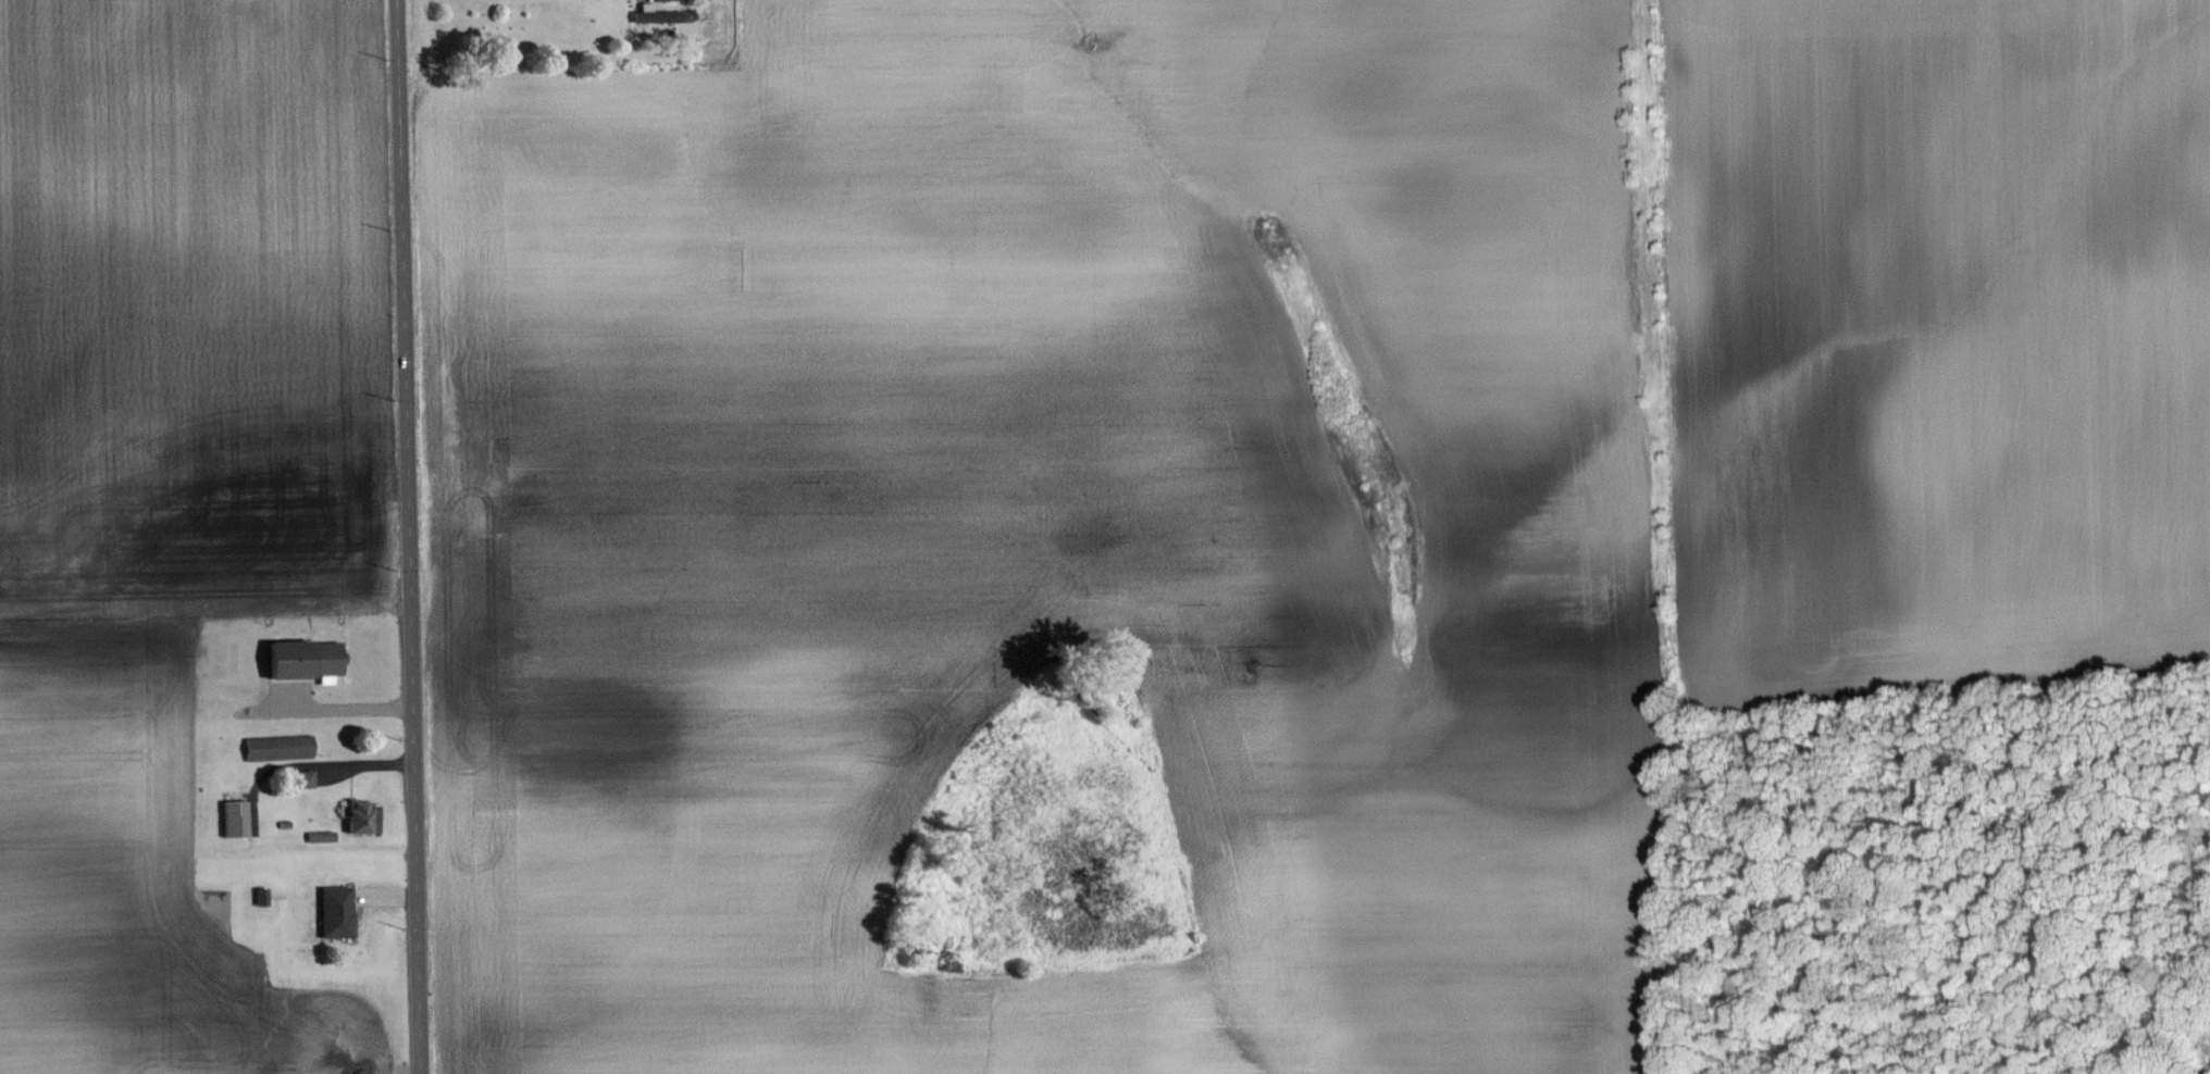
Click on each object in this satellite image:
building: (667, 0)
building: (657, 14)
road: (406, 537)
building: (305, 657)
building: (278, 747)
building: (306, 777)
building: (363, 815)
building: (235, 817)
building: (336, 910)

